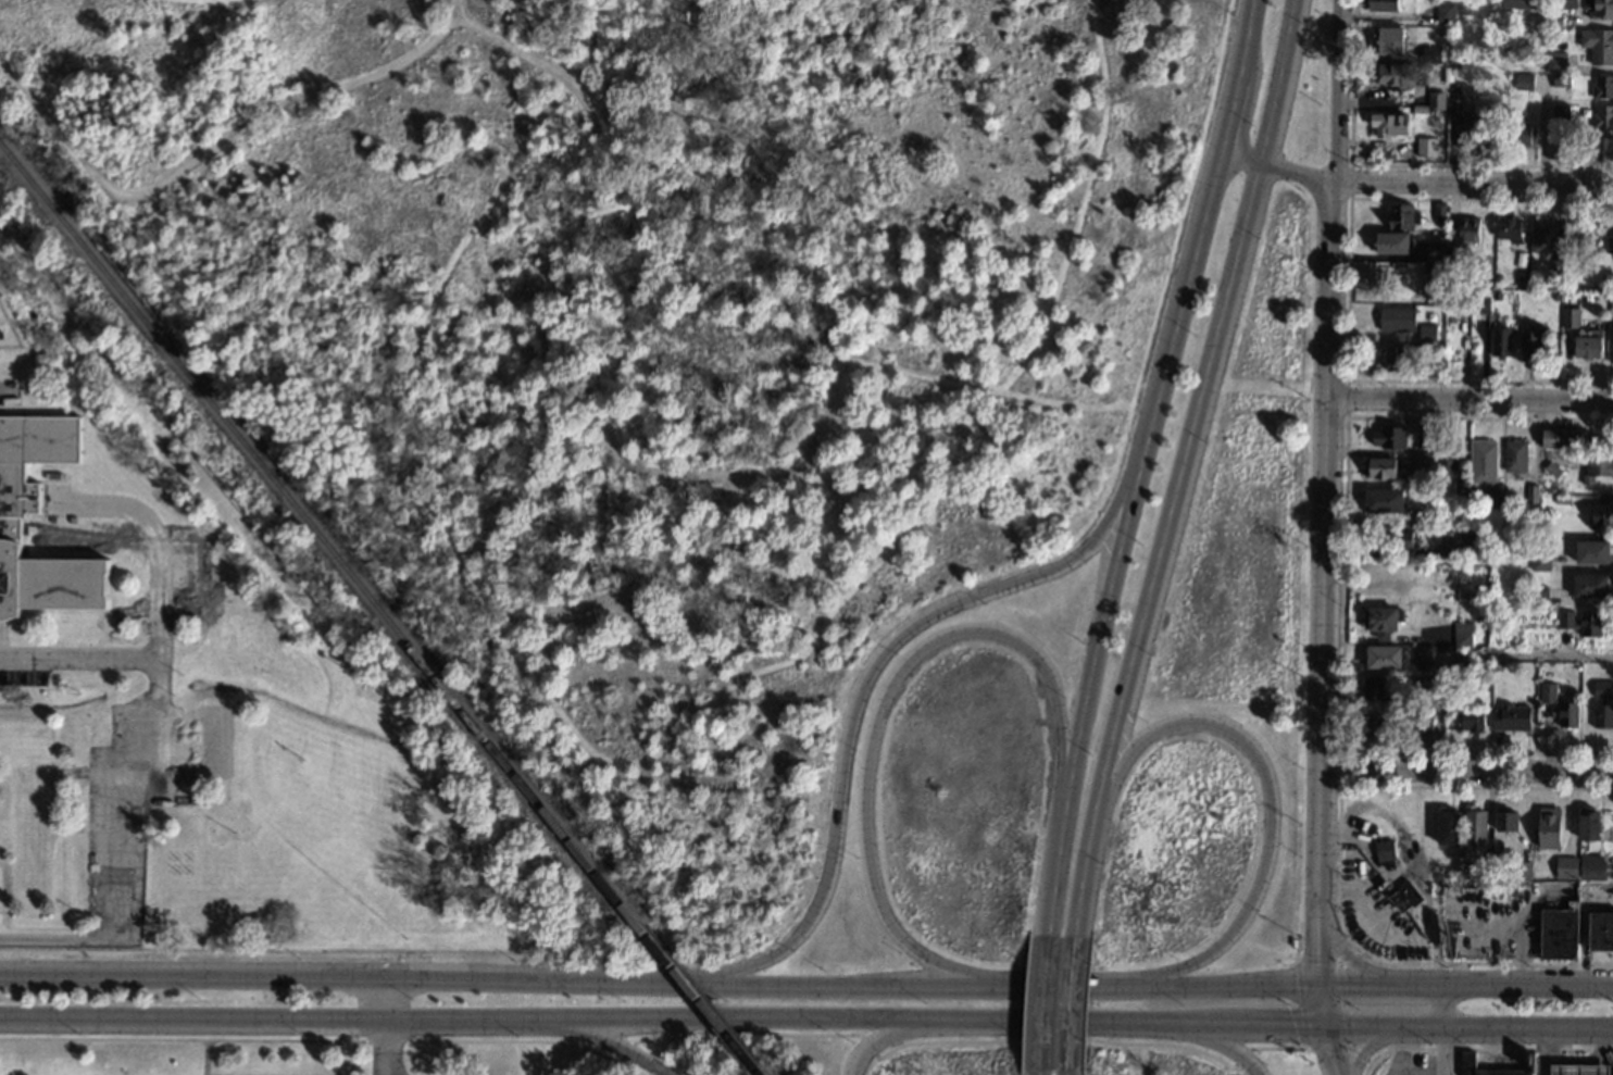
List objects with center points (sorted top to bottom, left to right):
building: (1521, 4)
building: (1563, 4)
building: (1383, 5)
building: (1598, 9)
building: (1443, 13)
road: (1243, 34)
road: (500, 40)
road: (600, 40)
building: (1388, 40)
building: (1445, 41)
building: (1598, 45)
building: (1503, 49)
building: (1431, 54)
building: (1556, 61)
building: (1395, 74)
building: (1491, 77)
building: (1561, 80)
building: (1524, 82)
building: (1602, 87)
road: (1338, 90)
building: (1436, 100)
building: (1456, 102)
road: (1233, 112)
building: (1561, 113)
building: (1602, 117)
building: (1389, 124)
building: (1517, 132)
building: (1491, 133)
building: (1465, 134)
road: (212, 147)
building: (1426, 147)
building: (1601, 148)
building: (1551, 151)
road: (1399, 163)
road: (1281, 167)
road: (1350, 180)
road: (1475, 182)
road: (1085, 203)
building: (1439, 211)
building: (1402, 216)
building: (1510, 228)
building: (1468, 229)
building: (1578, 234)
building: (1609, 235)
building: (1543, 236)
building: (1391, 243)
building: (1435, 251)
building: (1453, 253)
building: (1522, 260)
building: (1555, 268)
building: (1436, 278)
building: (1520, 283)
building: (1612, 284)
building: (1606, 285)
road: (1347, 290)
building: (1462, 297)
building: (1558, 297)
building: (1611, 298)
building: (1481, 305)
building: (1571, 317)
building: (1398, 318)
building: (1427, 335)
building: (1501, 341)
building: (1530, 341)
building: (1611, 343)
building: (1587, 346)
building: (1430, 354)
building: (1397, 357)
road: (1346, 380)
road: (1309, 386)
road: (1471, 399)
road: (1062, 404)
building: (1389, 437)
building: (1563, 438)
building: (1424, 440)
building: (1447, 455)
building: (1515, 455)
building: (1423, 460)
road: (1185, 463)
building: (1483, 463)
road: (1135, 466)
building: (1598, 466)
building: (1380, 467)
road: (777, 468)
building: (1552, 468)
building: (1461, 488)
building: (1531, 493)
building: (1563, 498)
building: (1495, 499)
building: (1384, 501)
building: (1602, 515)
building: (13, 516)
building: (1423, 517)
building: (1463, 518)
railway: (321, 535)
building: (1467, 535)
building: (1401, 539)
building: (1592, 551)
building: (1540, 561)
building: (1376, 570)
road: (1326, 580)
building: (1590, 585)
road: (1342, 588)
building: (1537, 595)
building: (1383, 621)
building: (1581, 622)
road: (158, 626)
building: (1404, 635)
building: (1462, 639)
building: (1422, 654)
road: (1468, 655)
building: (1384, 657)
building: (1461, 670)
building: (1538, 679)
building: (1422, 682)
building: (1373, 687)
road: (862, 689)
building: (1602, 689)
building: (1547, 692)
building: (137, 696)
building: (190, 702)
building: (1567, 713)
road: (875, 715)
building: (1602, 715)
building: (1511, 717)
building: (1472, 720)
building: (1373, 725)
building: (1421, 727)
road: (579, 739)
building: (215, 740)
road: (1468, 768)
road: (1339, 771)
road: (1270, 804)
building: (29, 807)
building: (192, 811)
building: (161, 814)
building: (1511, 822)
building: (1589, 824)
building: (1475, 825)
building: (1448, 826)
building: (1549, 828)
road: (121, 845)
building: (1500, 845)
building: (1583, 847)
road: (1056, 850)
building: (1385, 850)
road: (1337, 864)
building: (1566, 867)
building: (1523, 870)
building: (1591, 871)
building: (1488, 872)
building: (1410, 891)
building: (1400, 900)
building: (1601, 930)
building: (1559, 932)
road: (1299, 947)
road: (1342, 953)
traffic signals: (1320, 957)
road: (1349, 958)
road: (1521, 959)
road: (361, 977)
road: (858, 983)
traffic signals: (1348, 983)
road: (1154, 984)
road: (1465, 984)
road: (1040, 996)
road: (379, 998)
railway: (700, 998)
road: (1073, 999)
road: (1321, 1002)
road: (1343, 1007)
road: (276, 1017)
road: (884, 1018)
road: (1270, 1023)
traffic signals: (1292, 1023)
road: (1468, 1025)
road: (742, 1029)
road: (1447, 1029)
road: (879, 1037)
road: (1053, 1038)
road: (310, 1040)
road: (1224, 1043)
road: (1367, 1046)
road: (389, 1047)
road: (608, 1047)
road: (865, 1047)
road: (1278, 1048)
road: (1329, 1049)
road: (1483, 1050)
road: (623, 1052)
building: (1292, 1052)
traffic signals: (1331, 1054)
park: (296, 1055)
road: (1360, 1055)
road: (205, 1058)
road: (1240, 1058)
building: (1467, 1060)
building: (1579, 1068)
railway: (761, 1072)
road: (1071, 1073)
road: (1072, 1073)
road: (1036, 1074)

